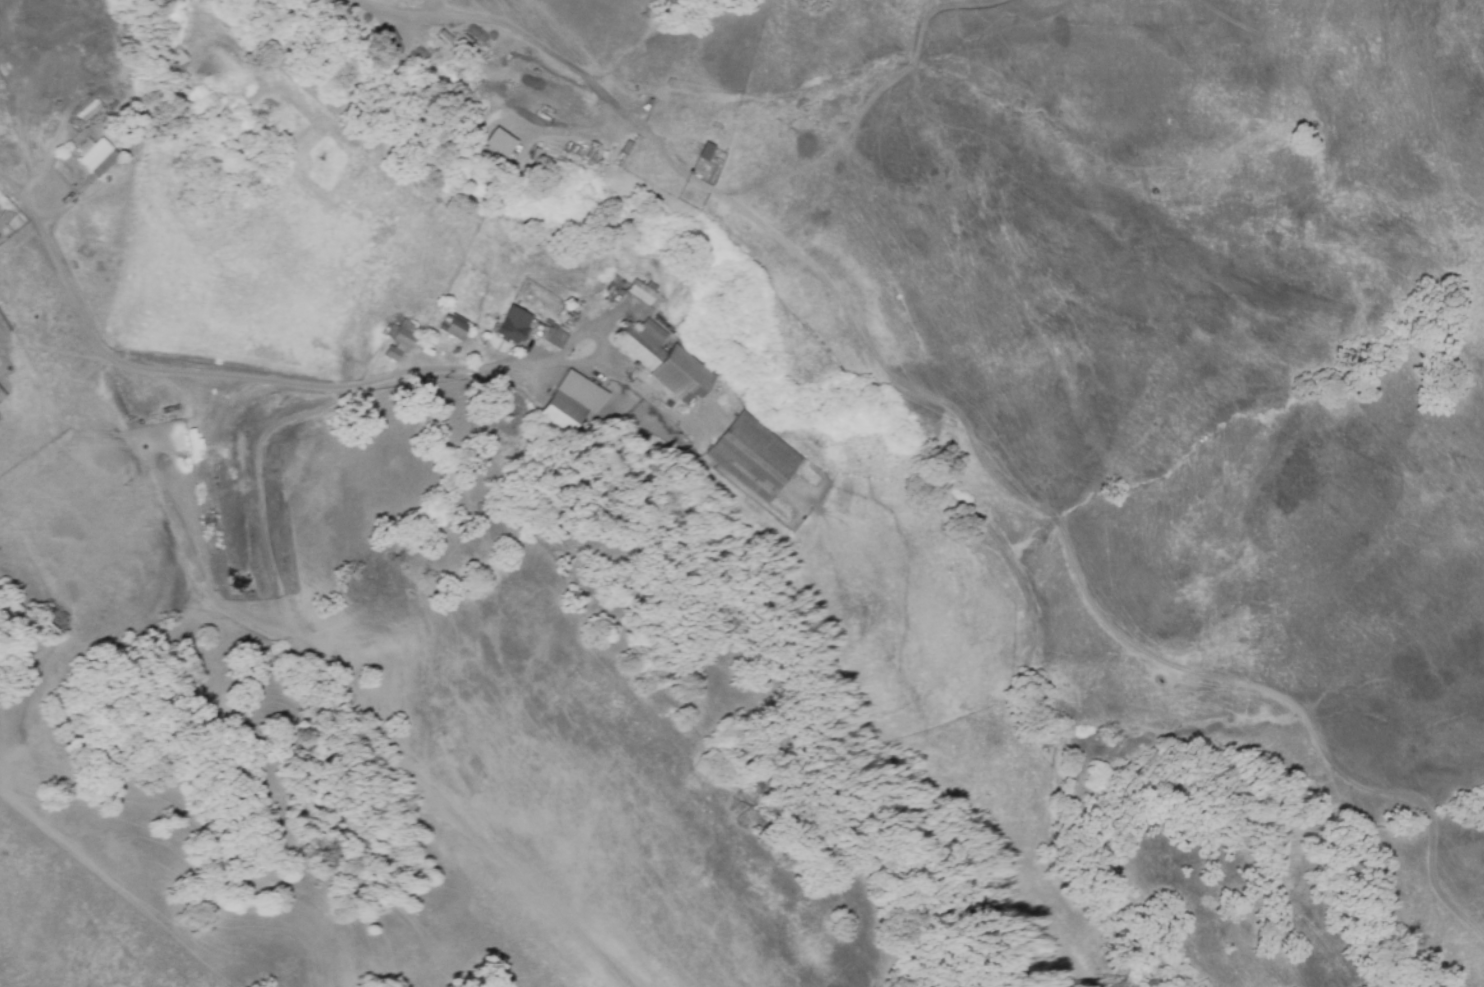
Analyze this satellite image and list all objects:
road: (432, 8)
building: (384, 42)
building: (702, 151)
building: (98, 156)
road: (736, 205)
building: (510, 324)
building: (447, 326)
road: (603, 328)
building: (399, 336)
building: (551, 337)
building: (640, 341)
building: (388, 352)
building: (678, 373)
road: (218, 378)
building: (2, 395)
building: (572, 400)
building: (753, 456)
road: (280, 598)

